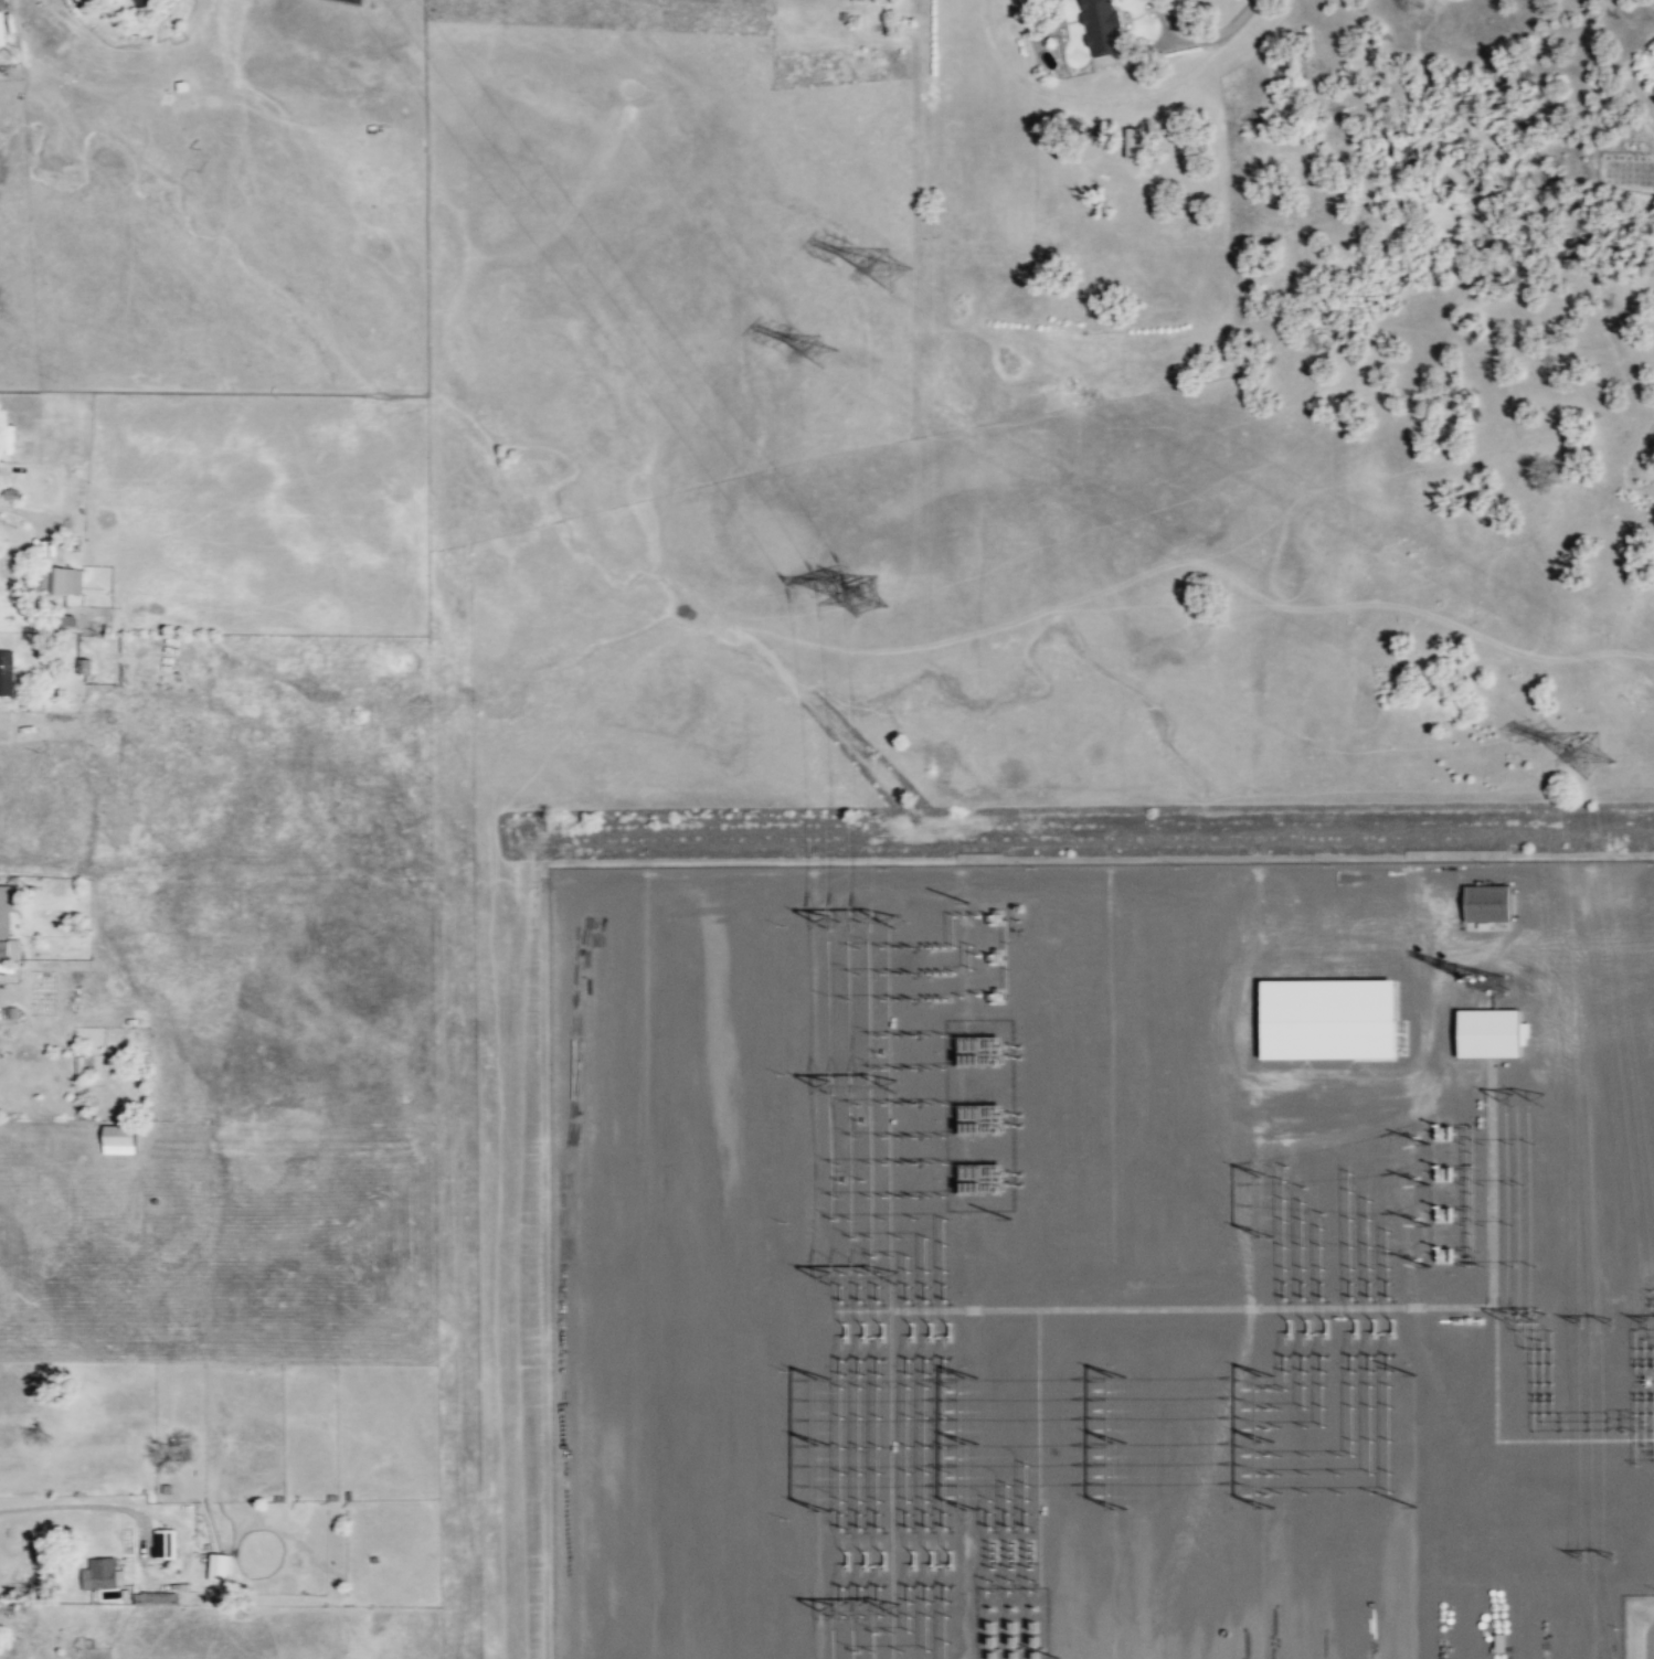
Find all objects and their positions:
building: (134, 2)
building: (1096, 24)
building: (0, 40)
building: (372, 130)
building: (1127, 141)
power tower: (899, 276)
power tower: (807, 365)
building: (61, 579)
power tower: (883, 593)
building: (4, 671)
power tower: (1586, 767)
building: (1481, 903)
building: (8, 948)
building: (1483, 1033)
building: (113, 1139)
power substation: (1099, 1258)
road: (92, 1504)
building: (161, 1544)
building: (213, 1566)
building: (96, 1574)
building: (152, 1597)

